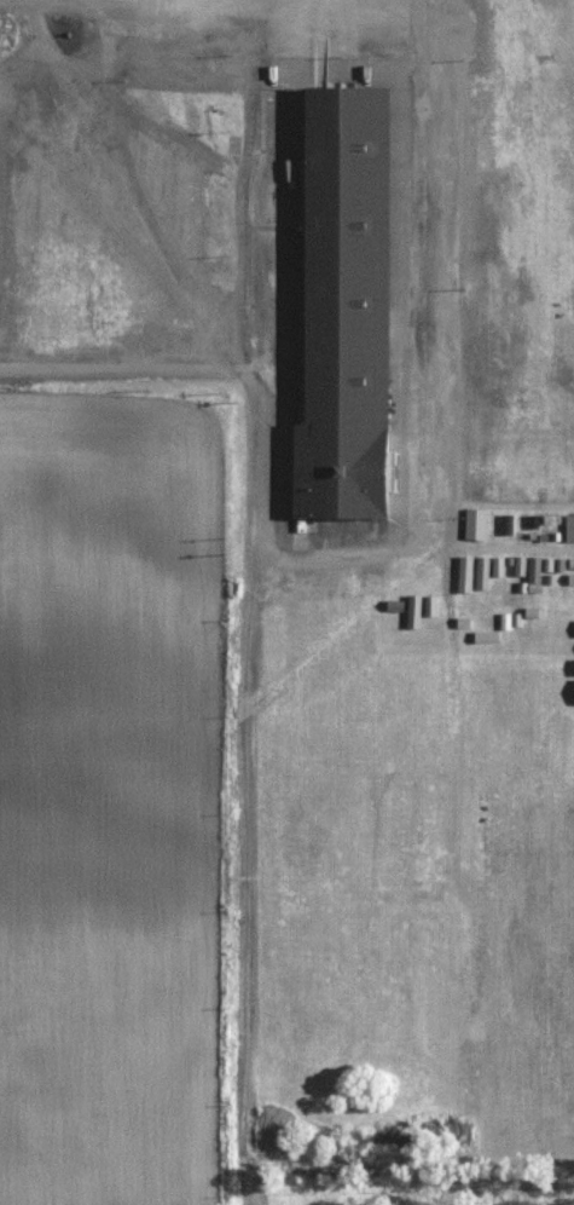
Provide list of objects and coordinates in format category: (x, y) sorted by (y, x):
building: (348, 307)
road: (440, 508)
building: (568, 1038)

